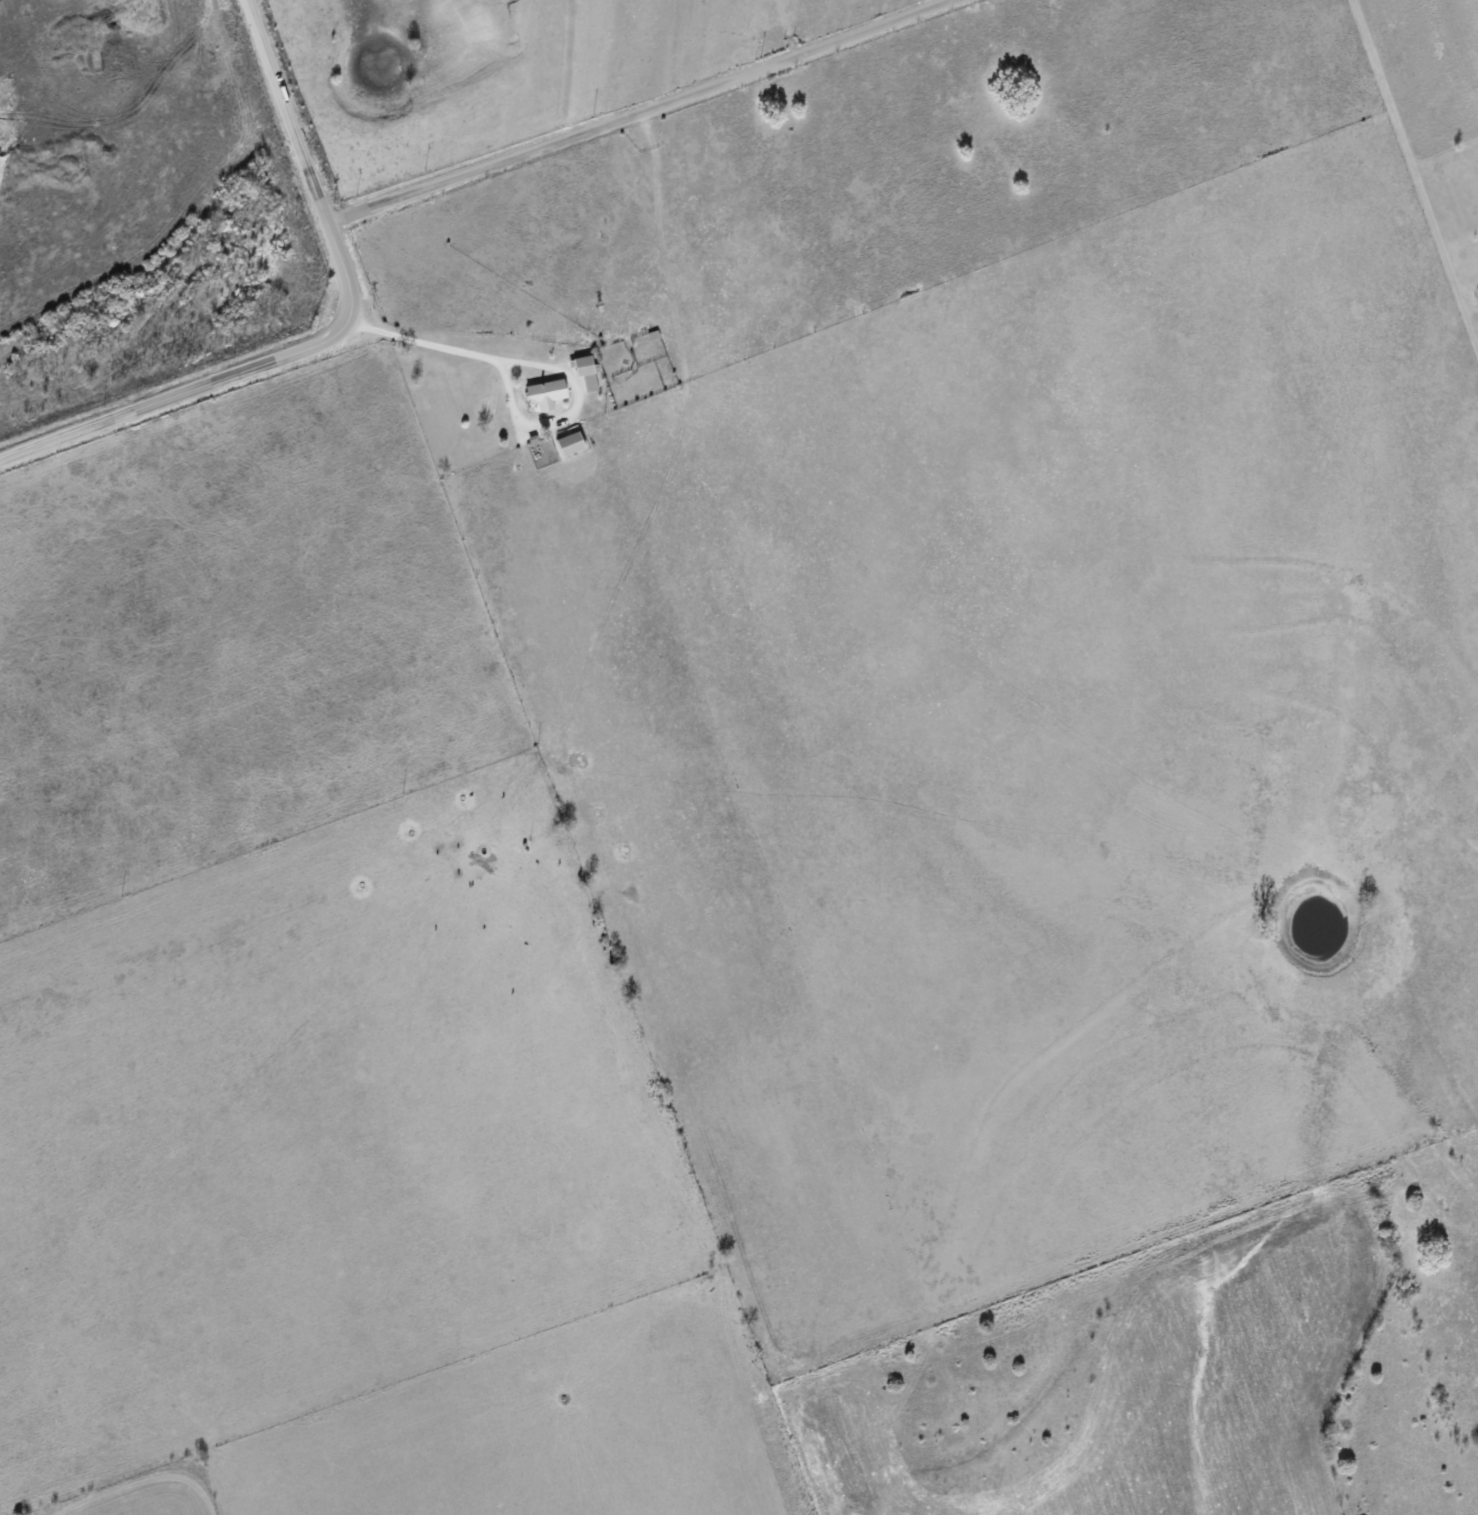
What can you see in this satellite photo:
road: (639, 112)
road: (1408, 155)
road: (333, 334)
road: (537, 364)
building: (586, 372)
building: (546, 393)
building: (571, 443)

